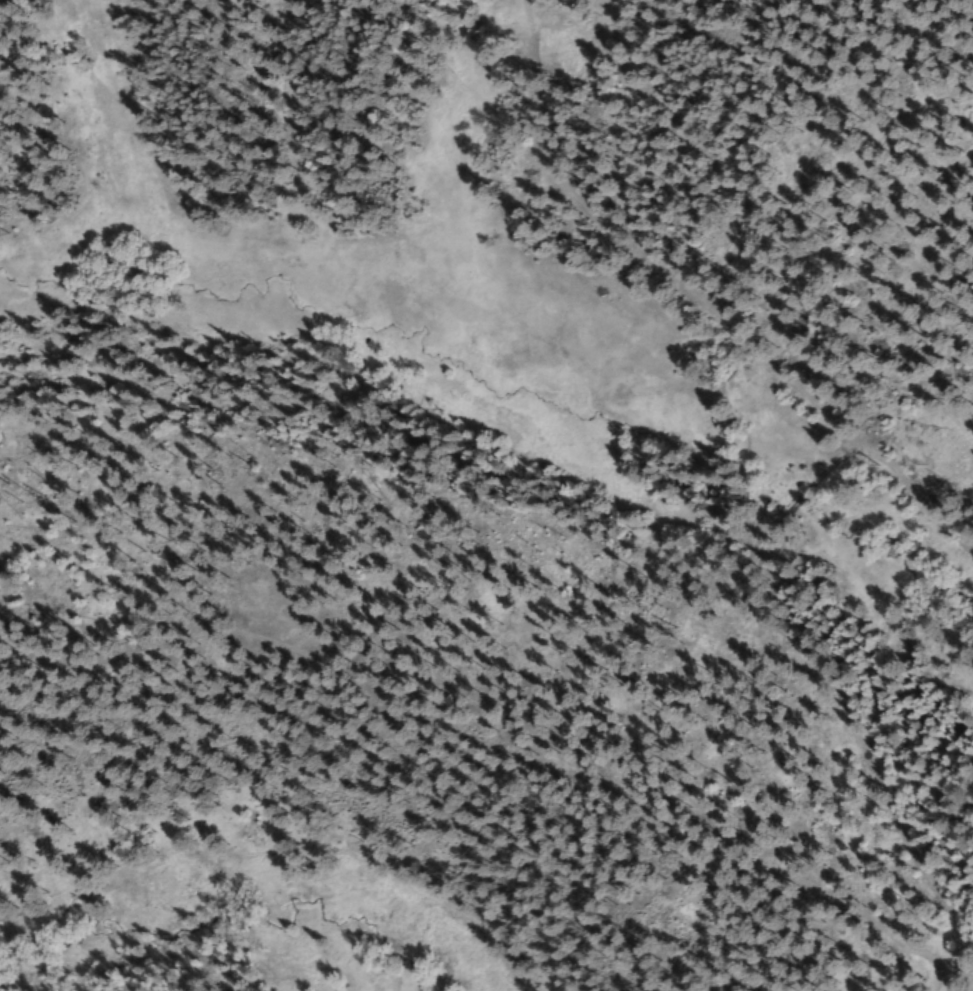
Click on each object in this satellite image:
road: (136, 979)

